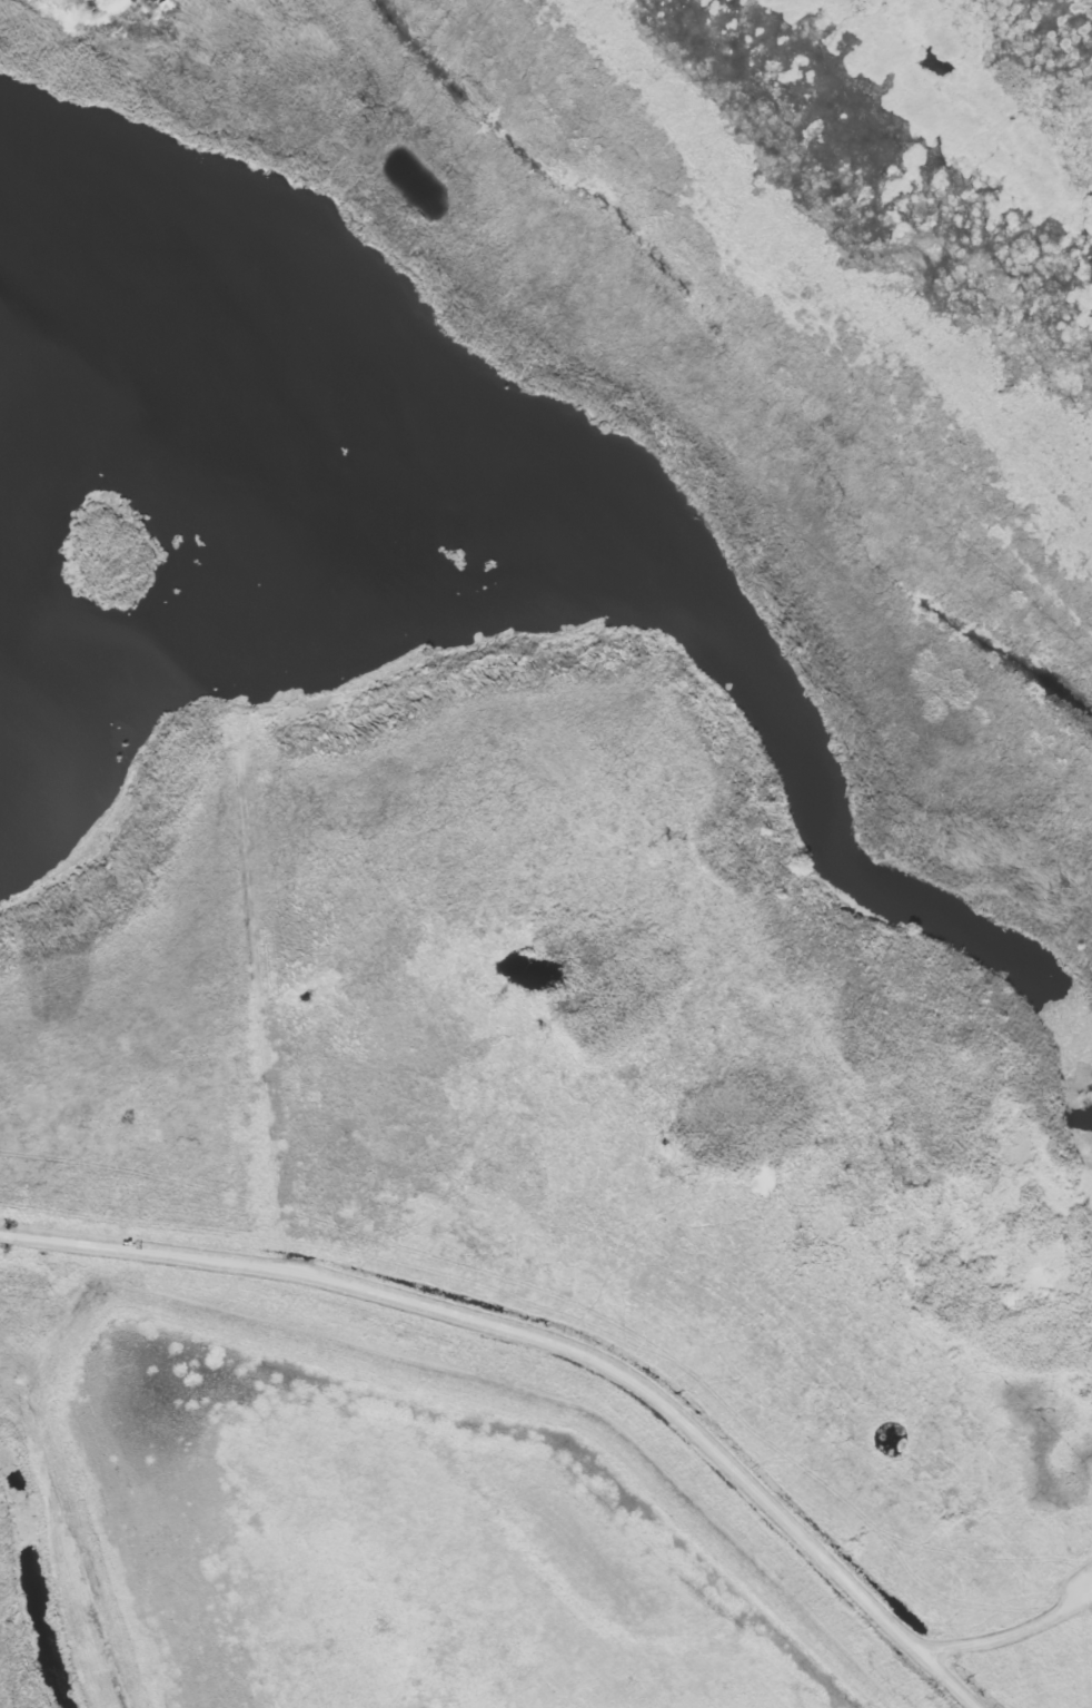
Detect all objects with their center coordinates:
road: (550, 1345)

